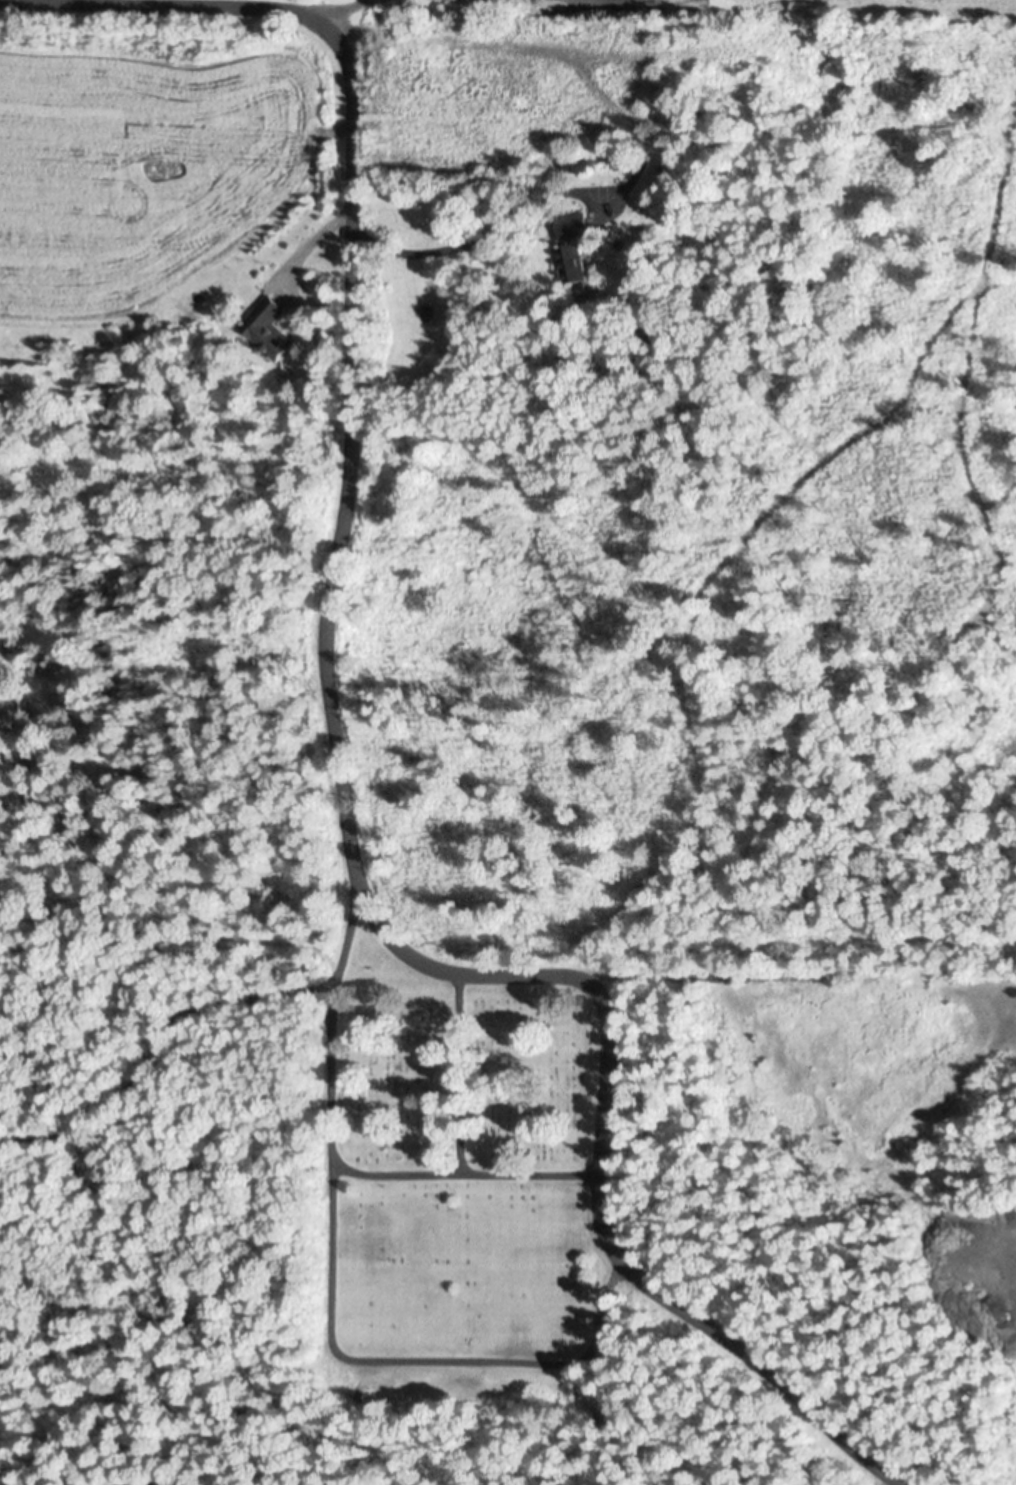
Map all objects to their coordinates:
road: (624, 117)
building: (610, 155)
building: (577, 163)
building: (575, 244)
building: (270, 333)
road: (348, 458)
road: (603, 1081)
road: (328, 1165)
park: (459, 1192)
road: (727, 1341)
road: (420, 1360)

